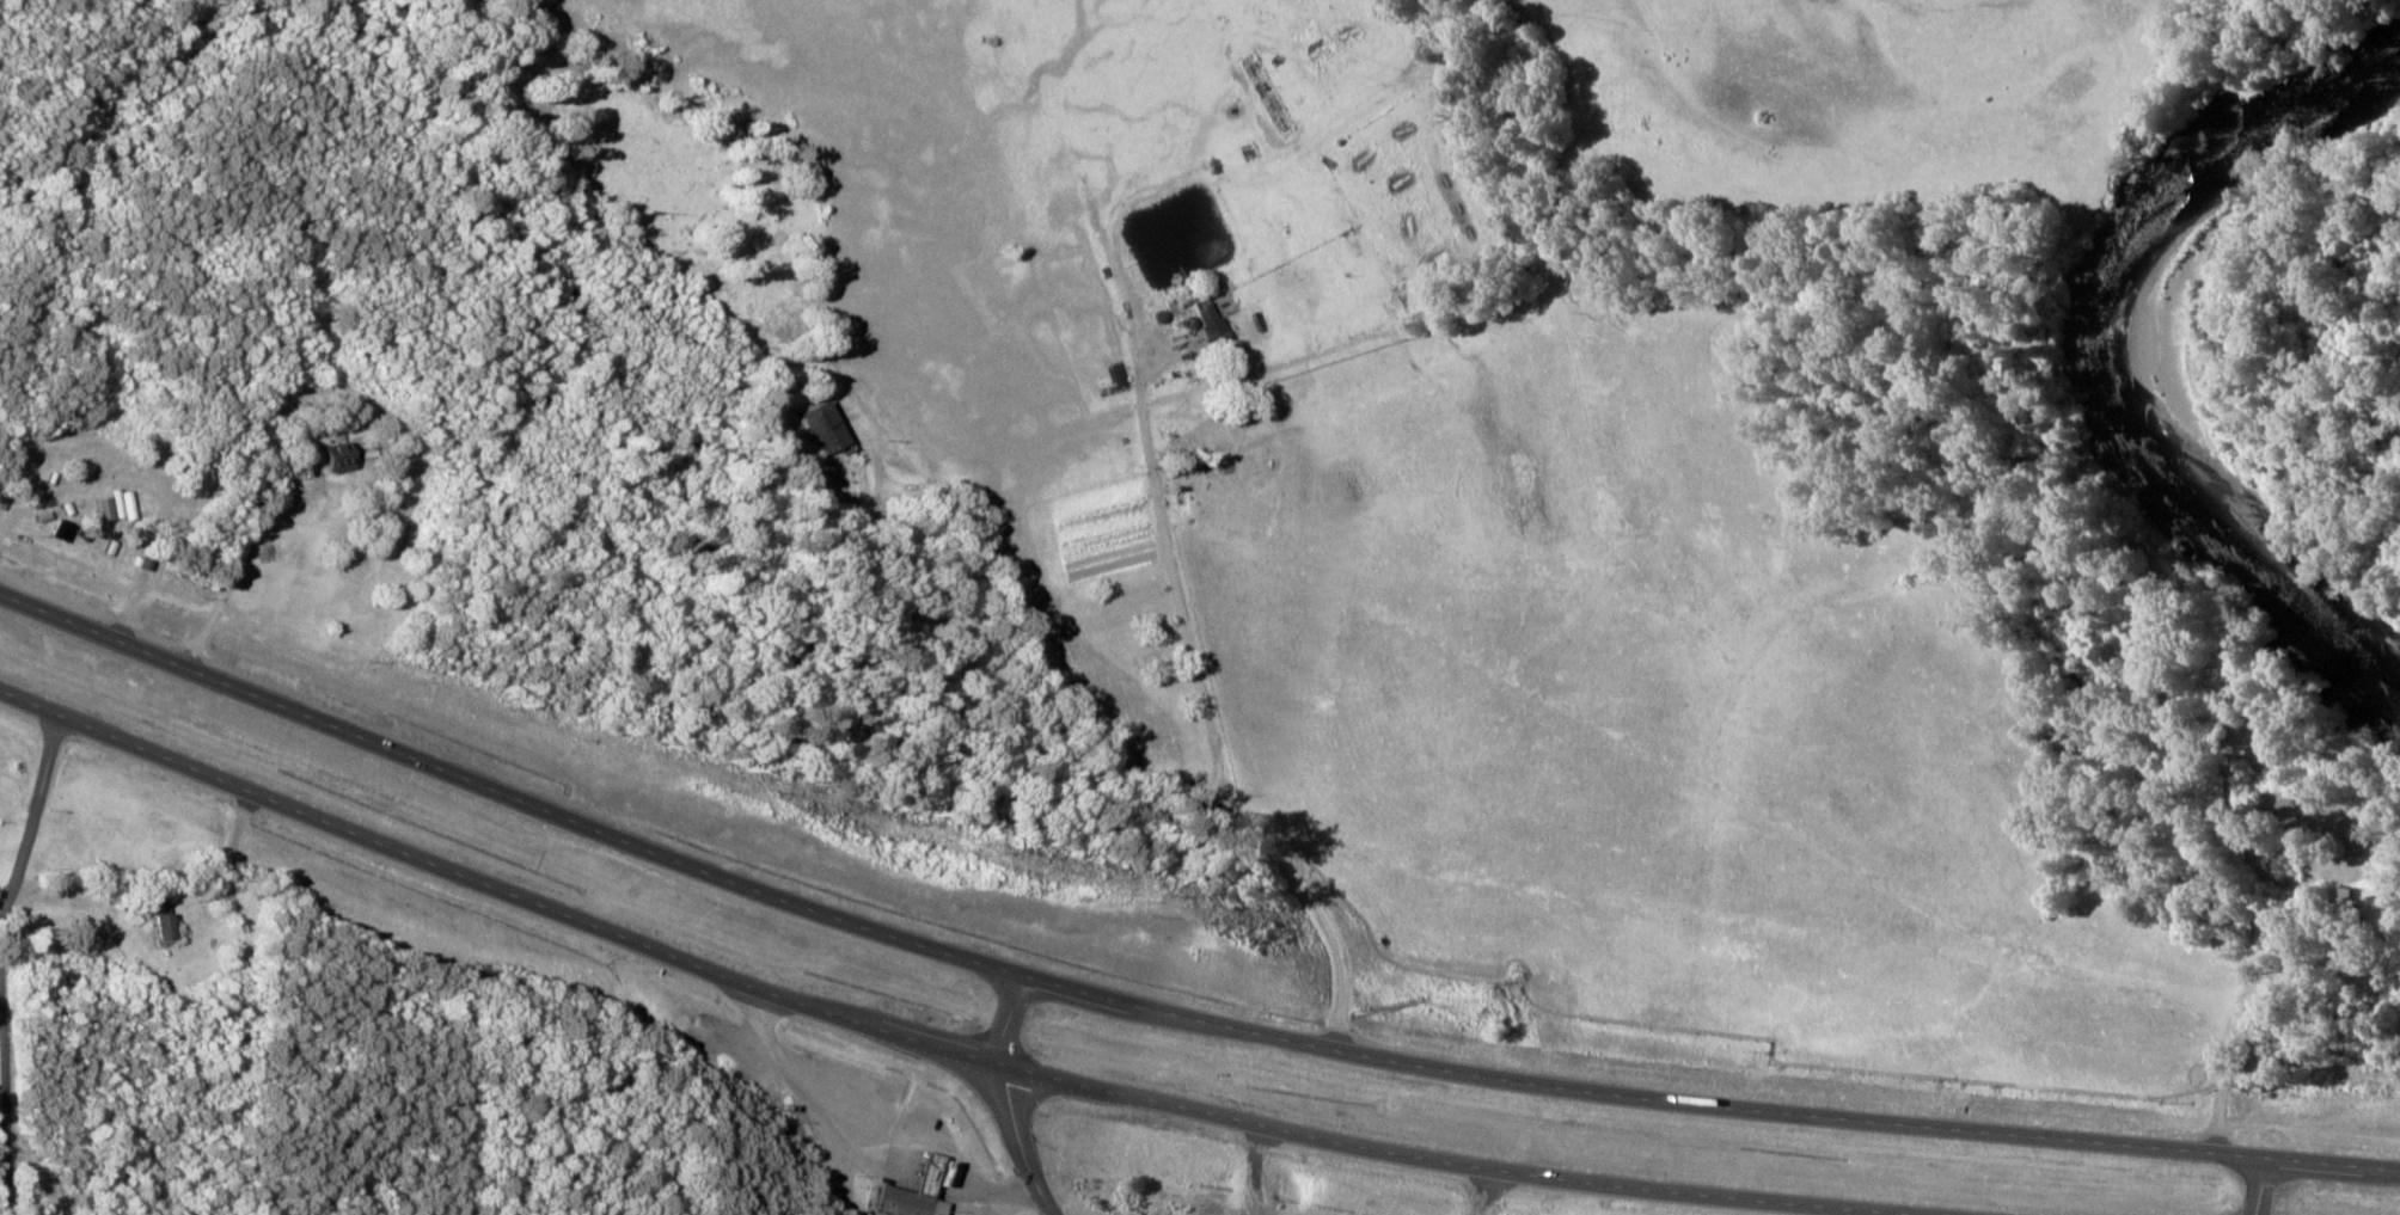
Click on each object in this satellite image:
building: (1214, 320)
road: (1331, 412)
building: (832, 428)
building: (342, 459)
building: (41, 484)
road: (1238, 812)
building: (169, 928)
road: (6, 961)
road: (1168, 1011)
road: (931, 1039)
road: (1014, 1098)
road: (2263, 1186)
building: (929, 1192)

